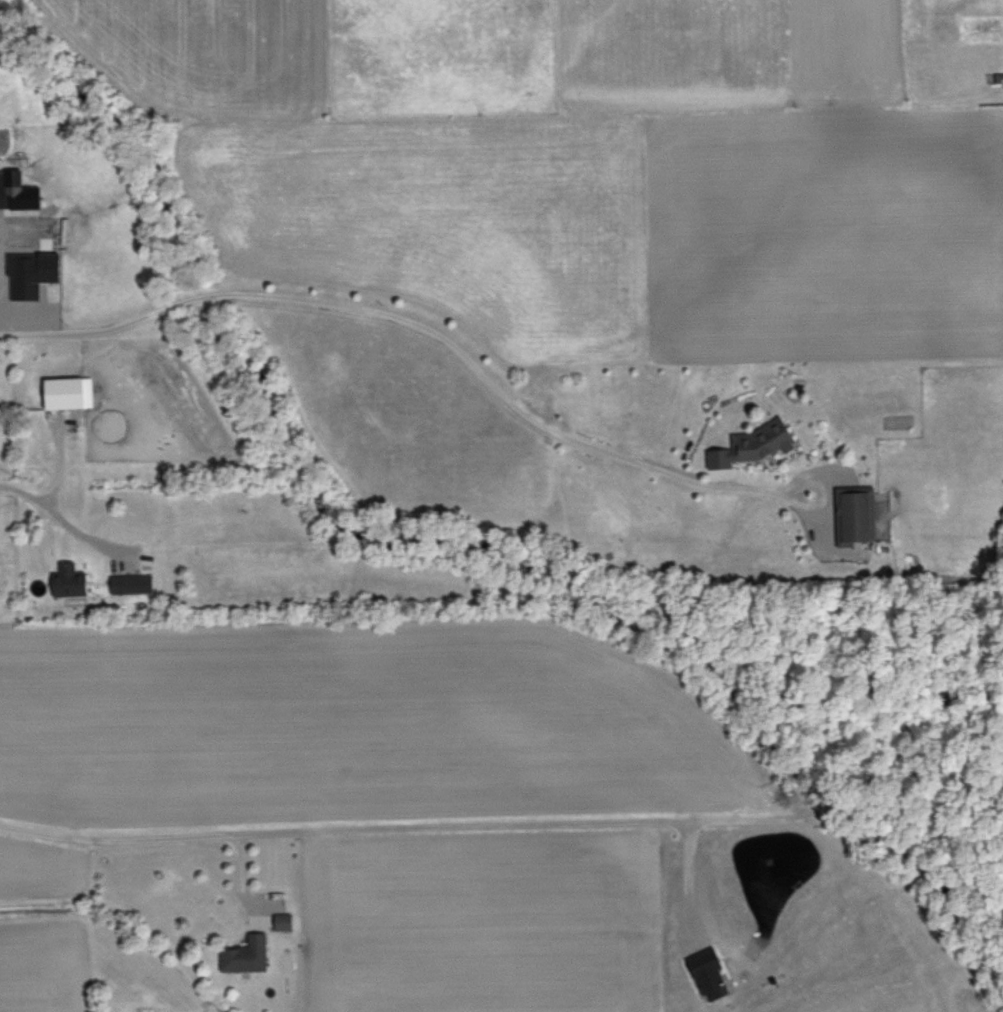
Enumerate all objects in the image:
building: (20, 191)
building: (35, 272)
road: (410, 330)
building: (70, 391)
building: (757, 442)
building: (858, 514)
road: (55, 519)
building: (72, 579)
building: (135, 582)
road: (363, 833)
road: (677, 884)
building: (286, 921)
building: (249, 954)
building: (714, 974)

